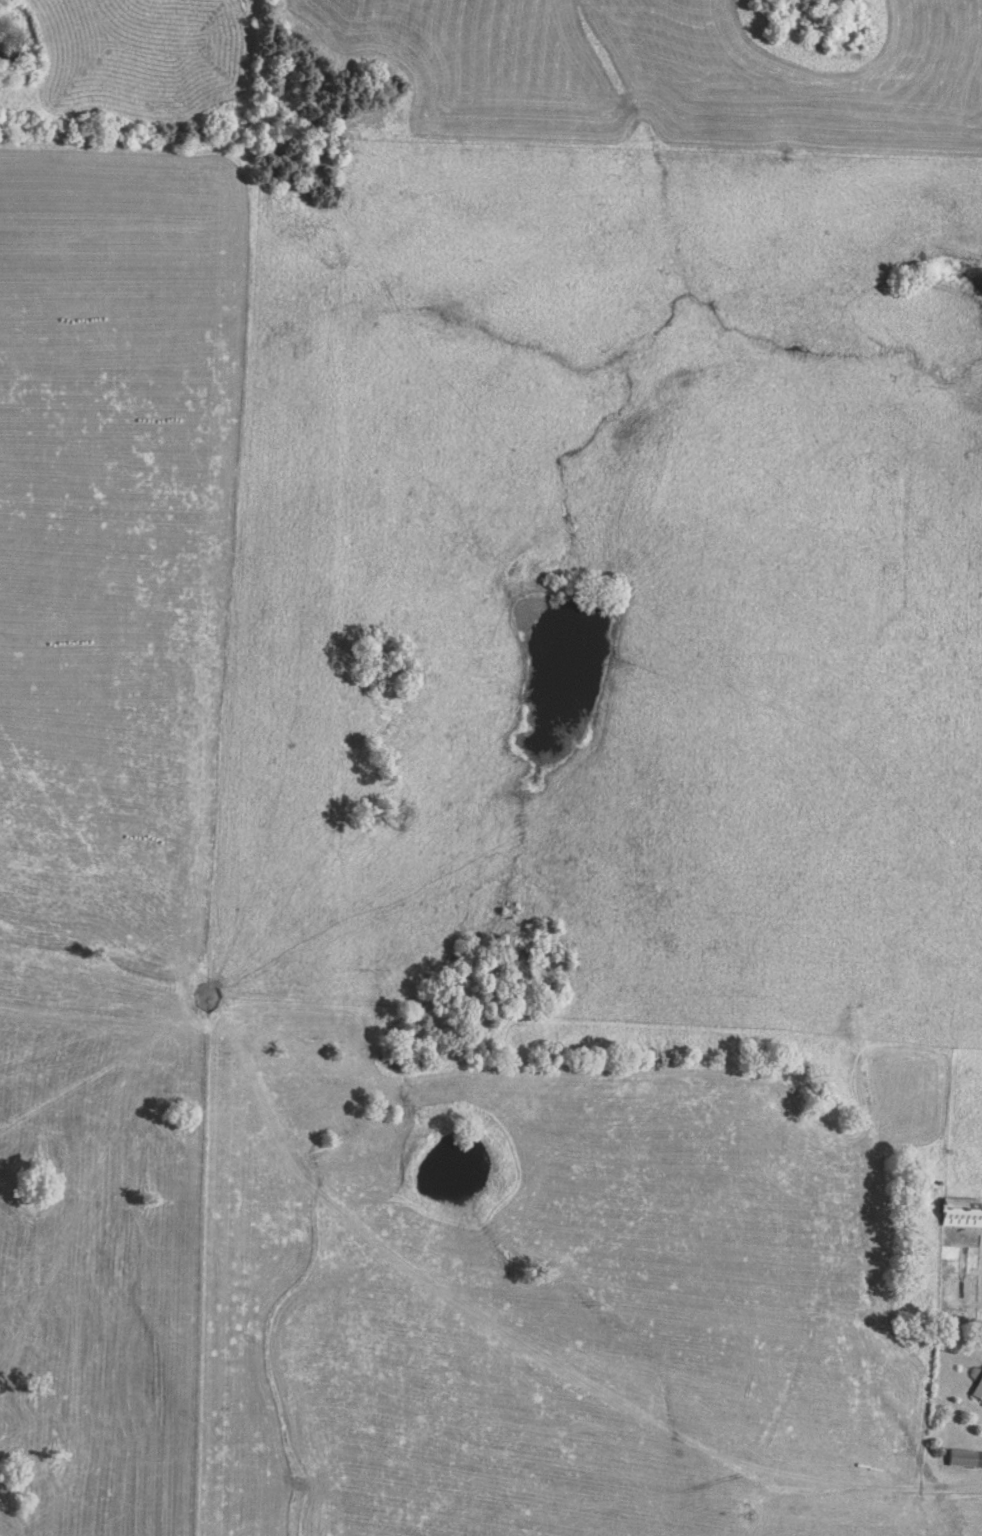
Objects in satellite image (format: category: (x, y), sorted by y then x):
building: (958, 1213)
building: (976, 1389)
building: (963, 1458)

